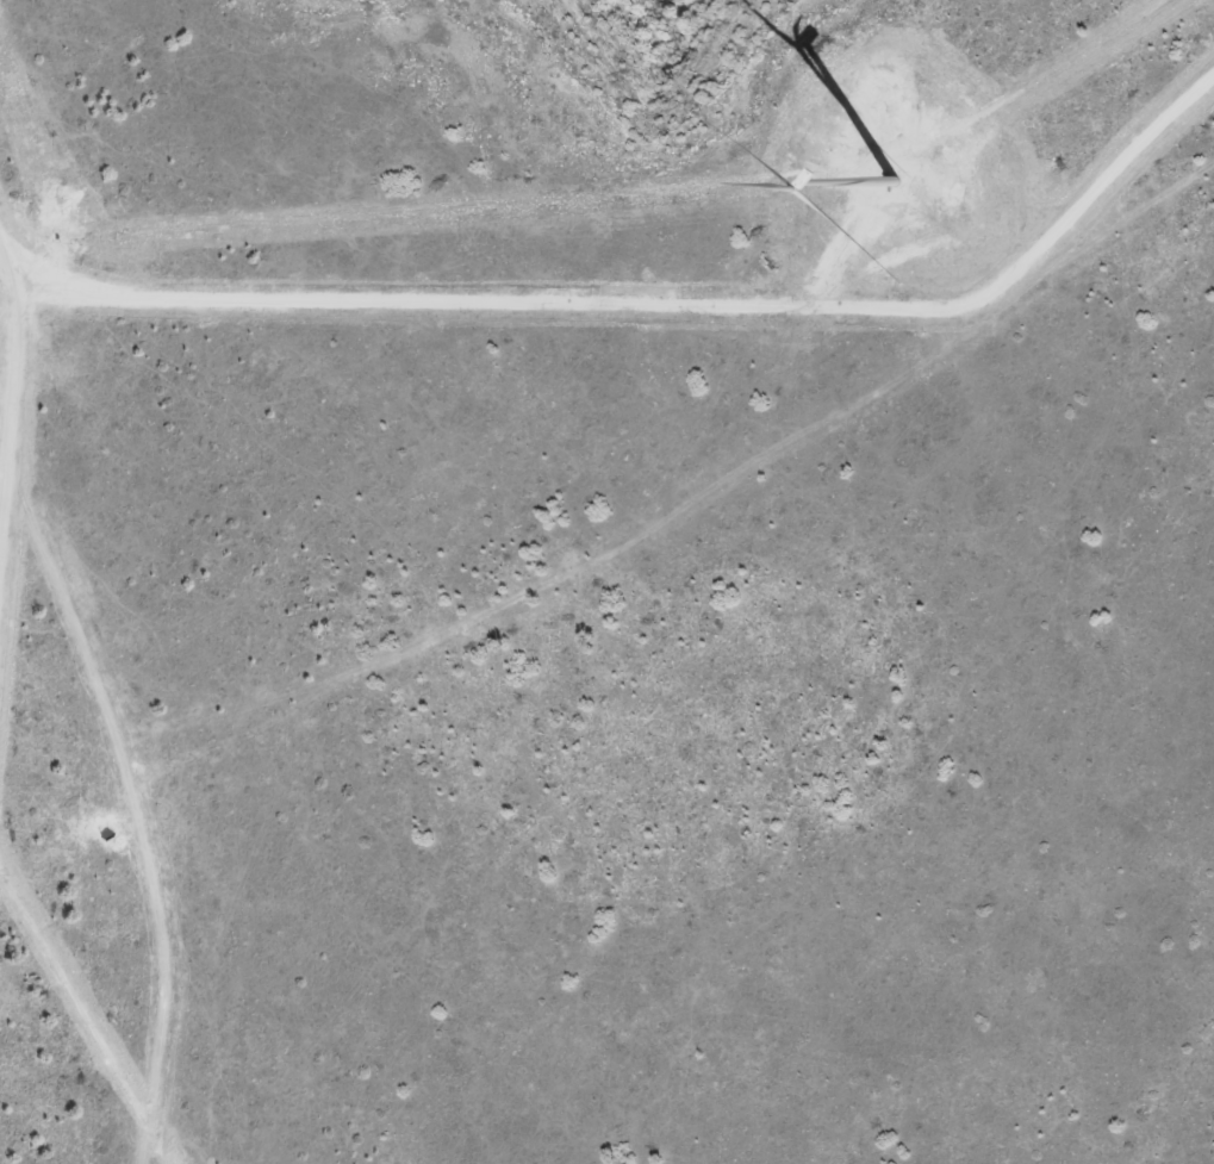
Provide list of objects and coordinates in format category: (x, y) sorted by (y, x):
wind turbine: (879, 172)
road: (114, 702)

